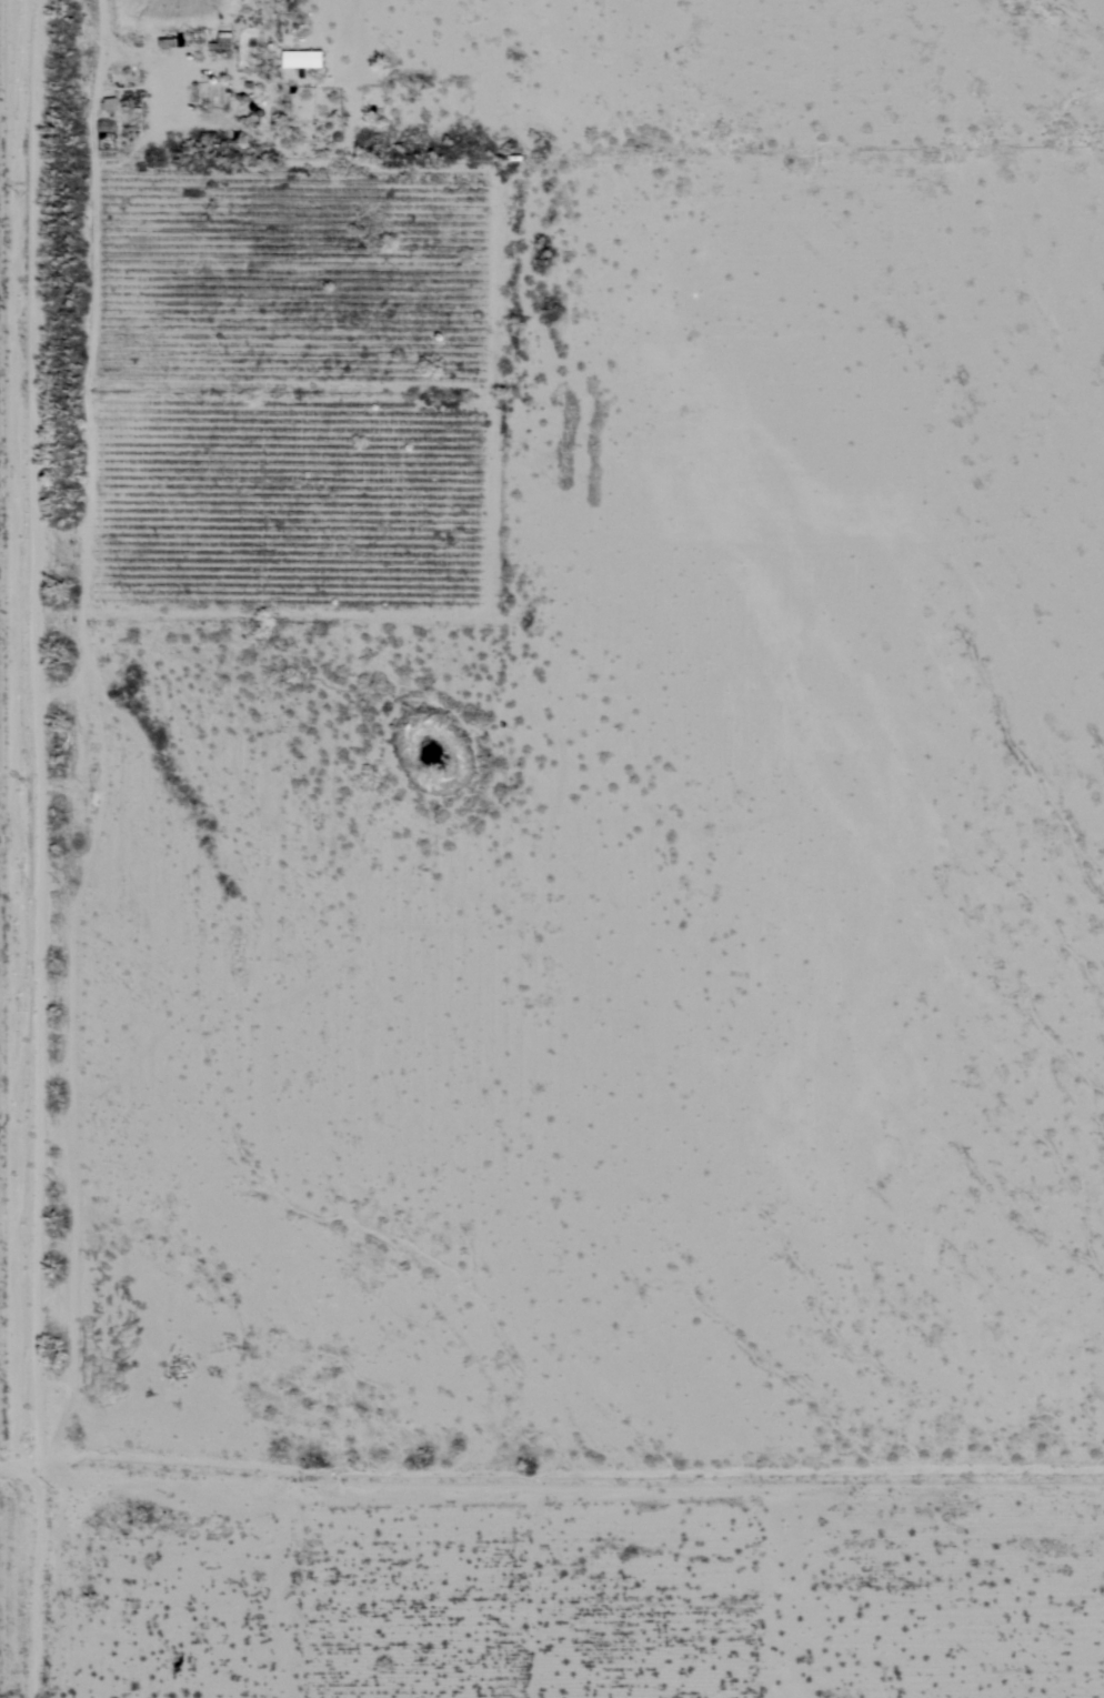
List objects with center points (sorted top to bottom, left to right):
building: (302, 59)
road: (44, 848)

